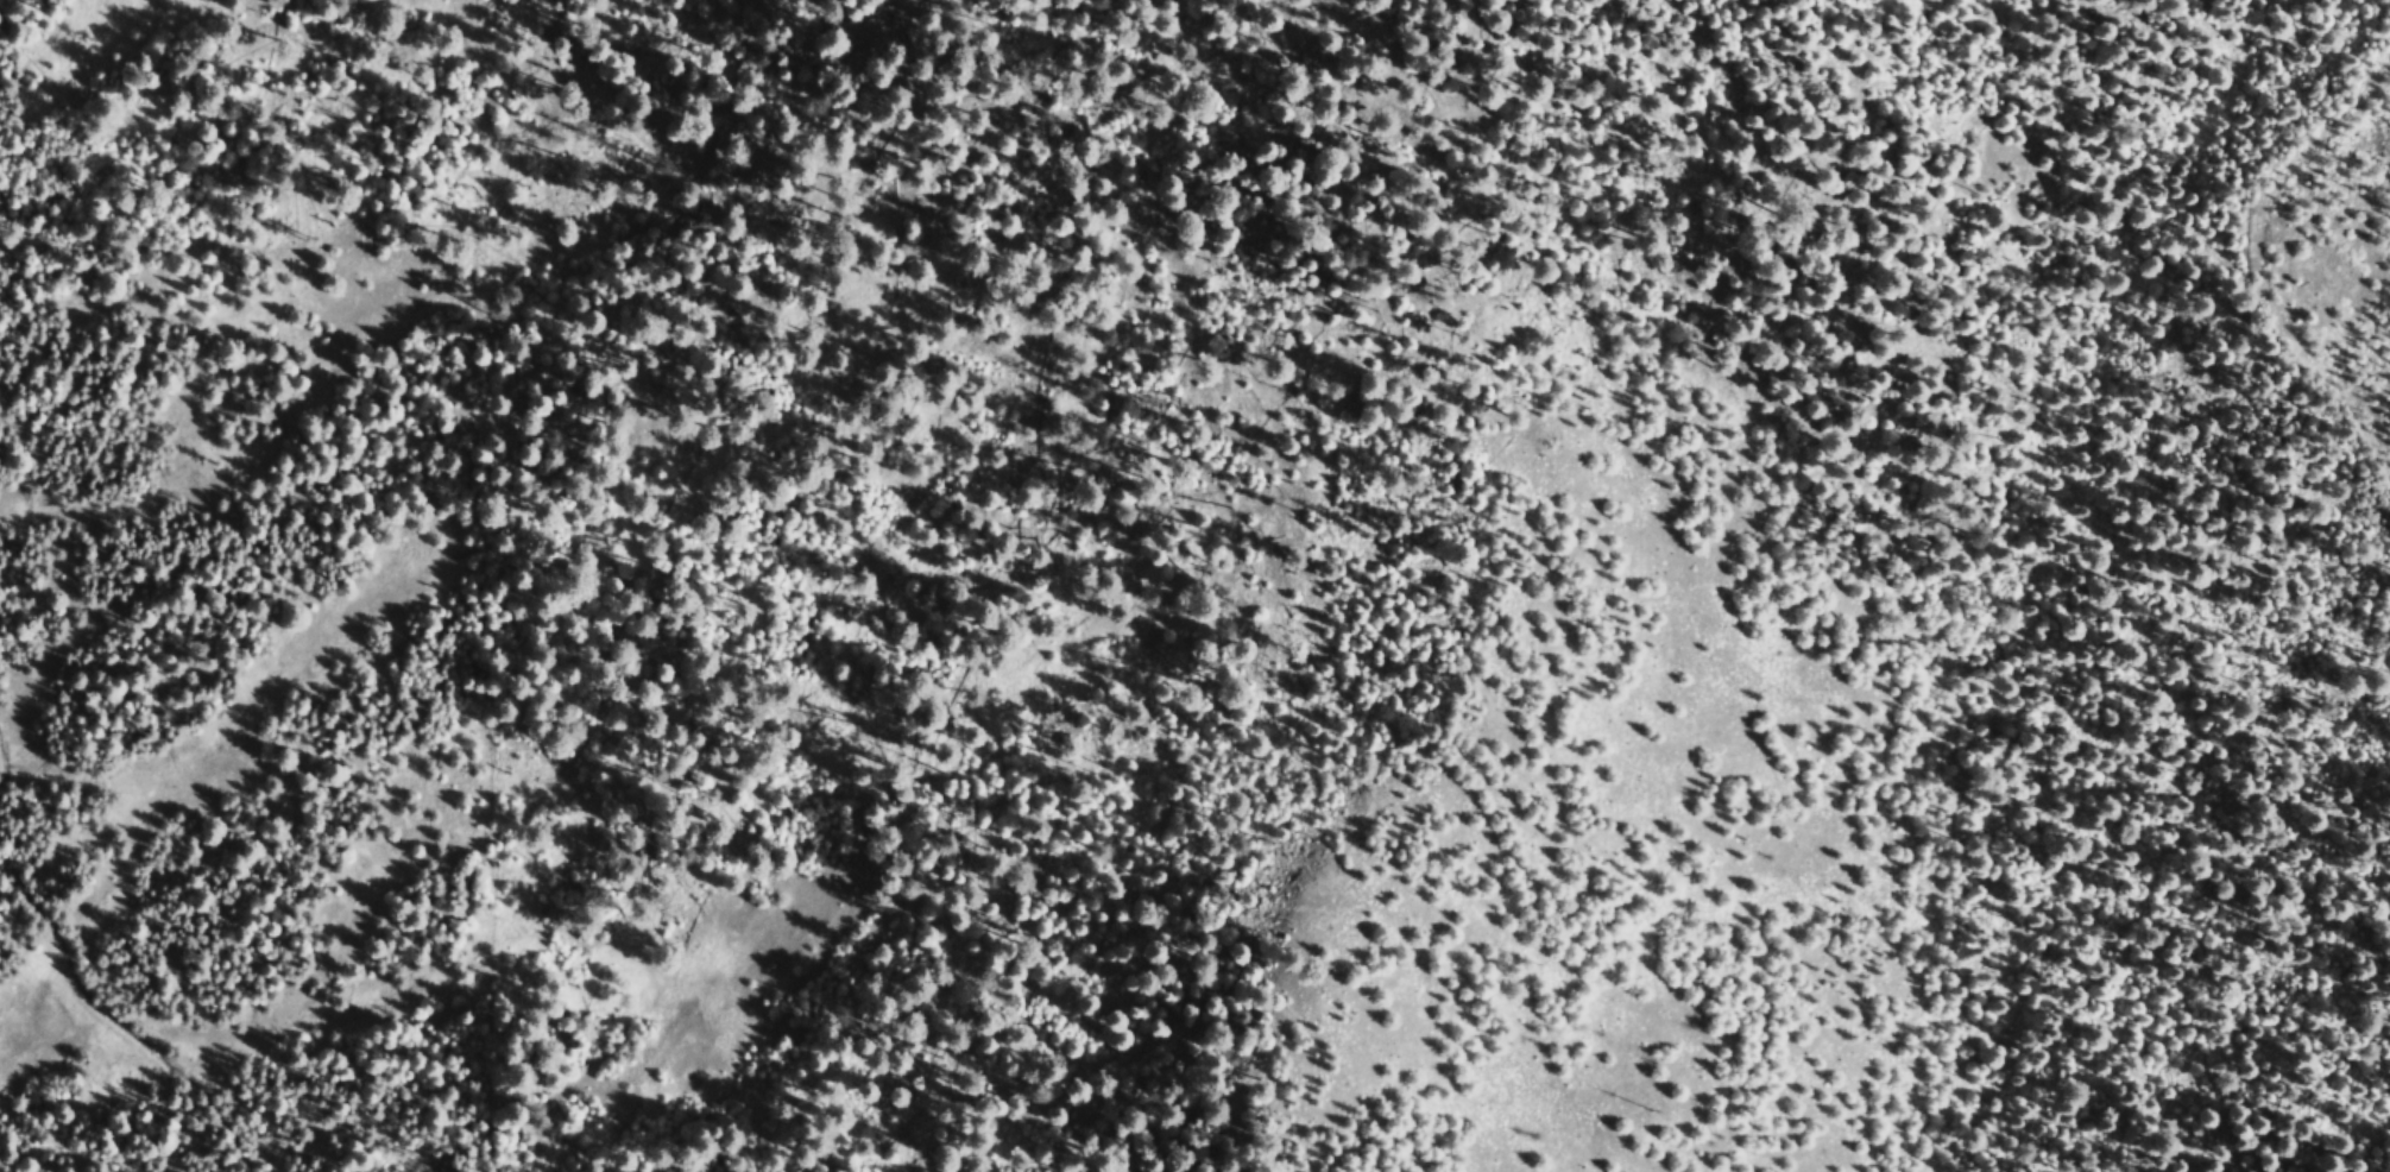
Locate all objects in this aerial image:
road: (197, 81)
road: (613, 112)

